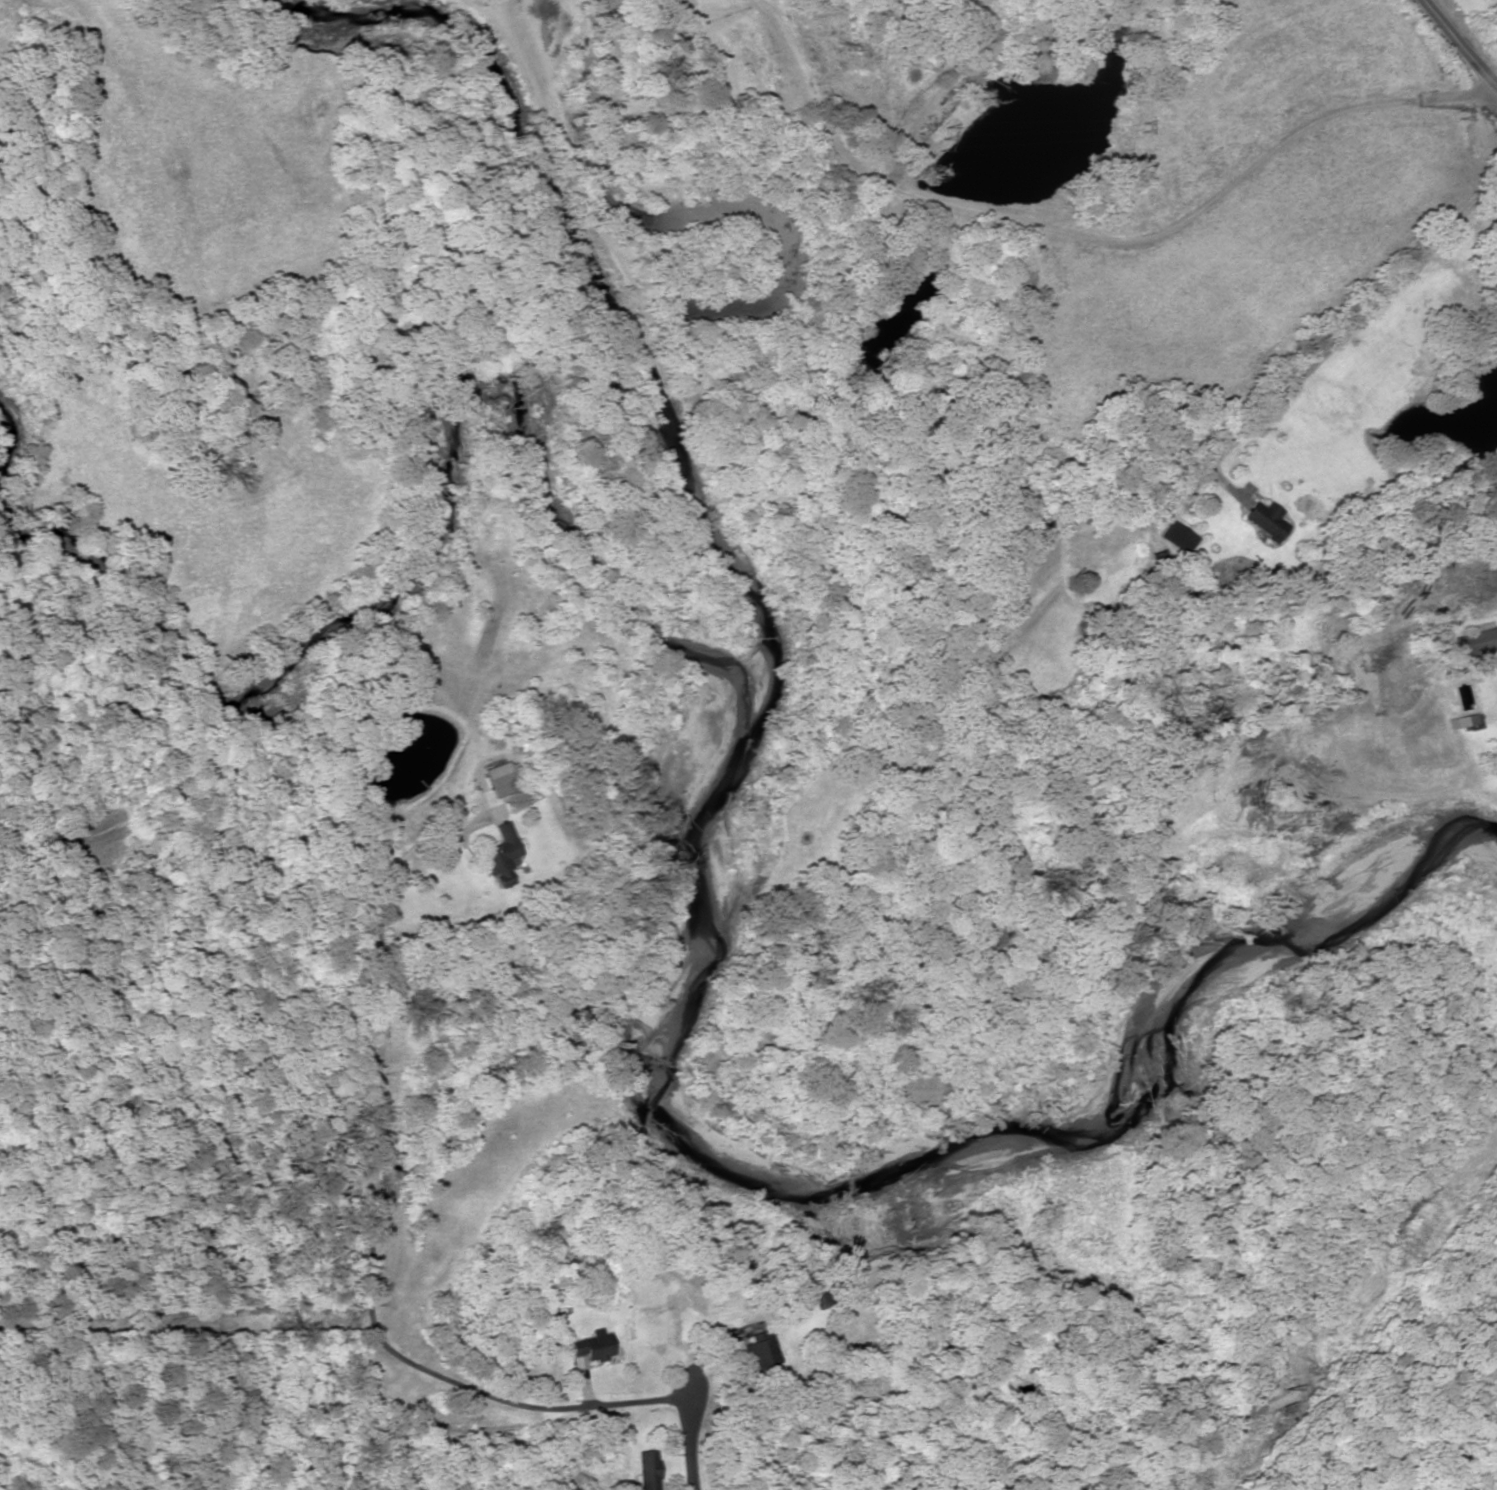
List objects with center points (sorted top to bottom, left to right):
road: (1457, 37)
building: (1264, 520)
building: (1177, 538)
building: (1158, 563)
building: (1475, 643)
building: (1465, 721)
building: (495, 769)
building: (497, 855)
building: (589, 1346)
building: (754, 1352)
power tower: (1285, 1379)
road: (456, 1395)
building: (645, 1469)
road: (692, 1471)

